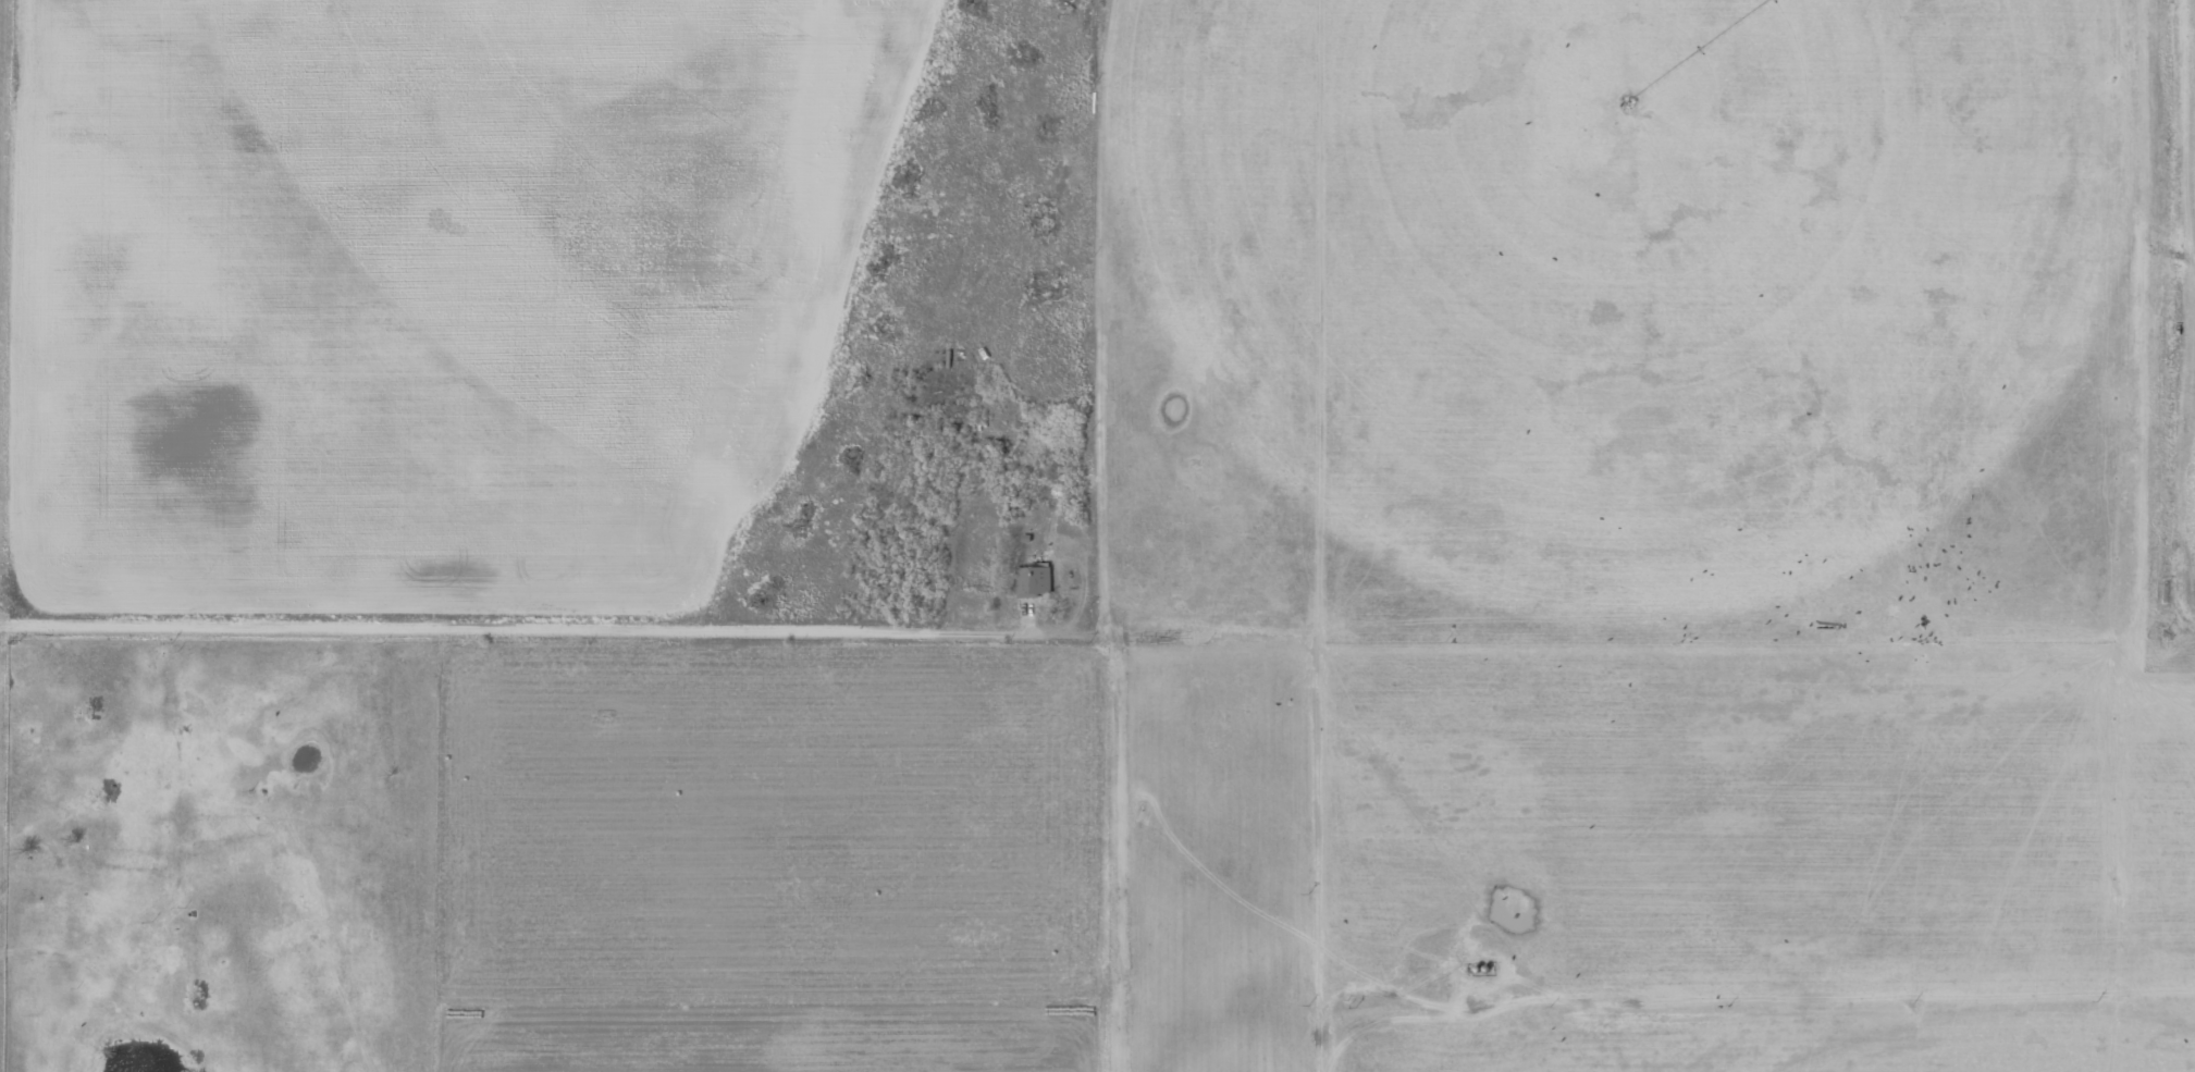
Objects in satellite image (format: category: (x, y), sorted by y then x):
road: (399, 149)
road: (1288, 446)
building: (1035, 581)
building: (109, 867)
building: (152, 957)

